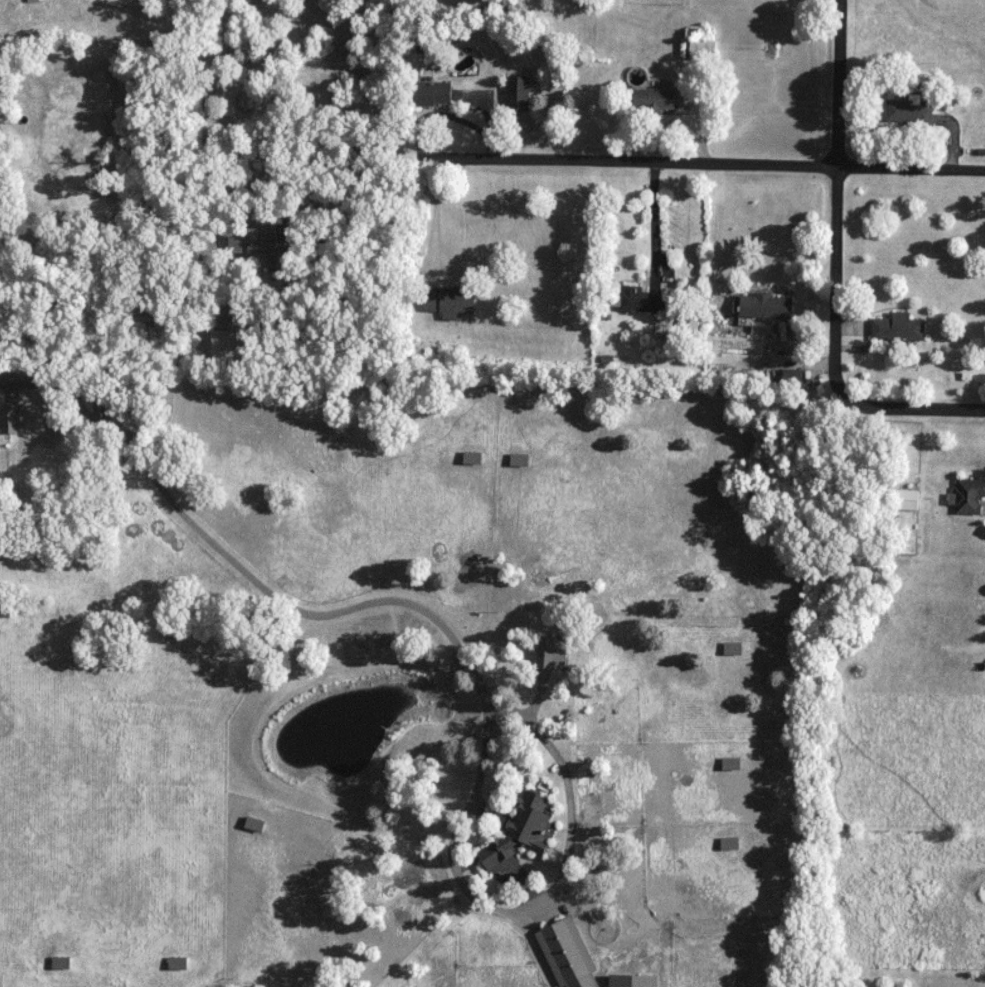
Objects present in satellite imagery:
building: (702, 50)
building: (436, 93)
building: (654, 100)
building: (911, 110)
road: (268, 111)
road: (710, 165)
road: (291, 184)
road: (837, 199)
road: (433, 218)
road: (652, 224)
building: (260, 240)
building: (450, 300)
building: (639, 300)
building: (764, 307)
building: (897, 328)
road: (908, 403)
building: (108, 406)
building: (11, 419)
building: (471, 458)
building: (518, 460)
building: (969, 496)
building: (906, 501)
road: (244, 572)
building: (732, 649)
building: (550, 654)
building: (729, 764)
building: (255, 824)
building: (519, 832)
building: (728, 844)
road: (526, 909)
building: (567, 955)
building: (63, 963)
building: (180, 963)
building: (632, 981)

